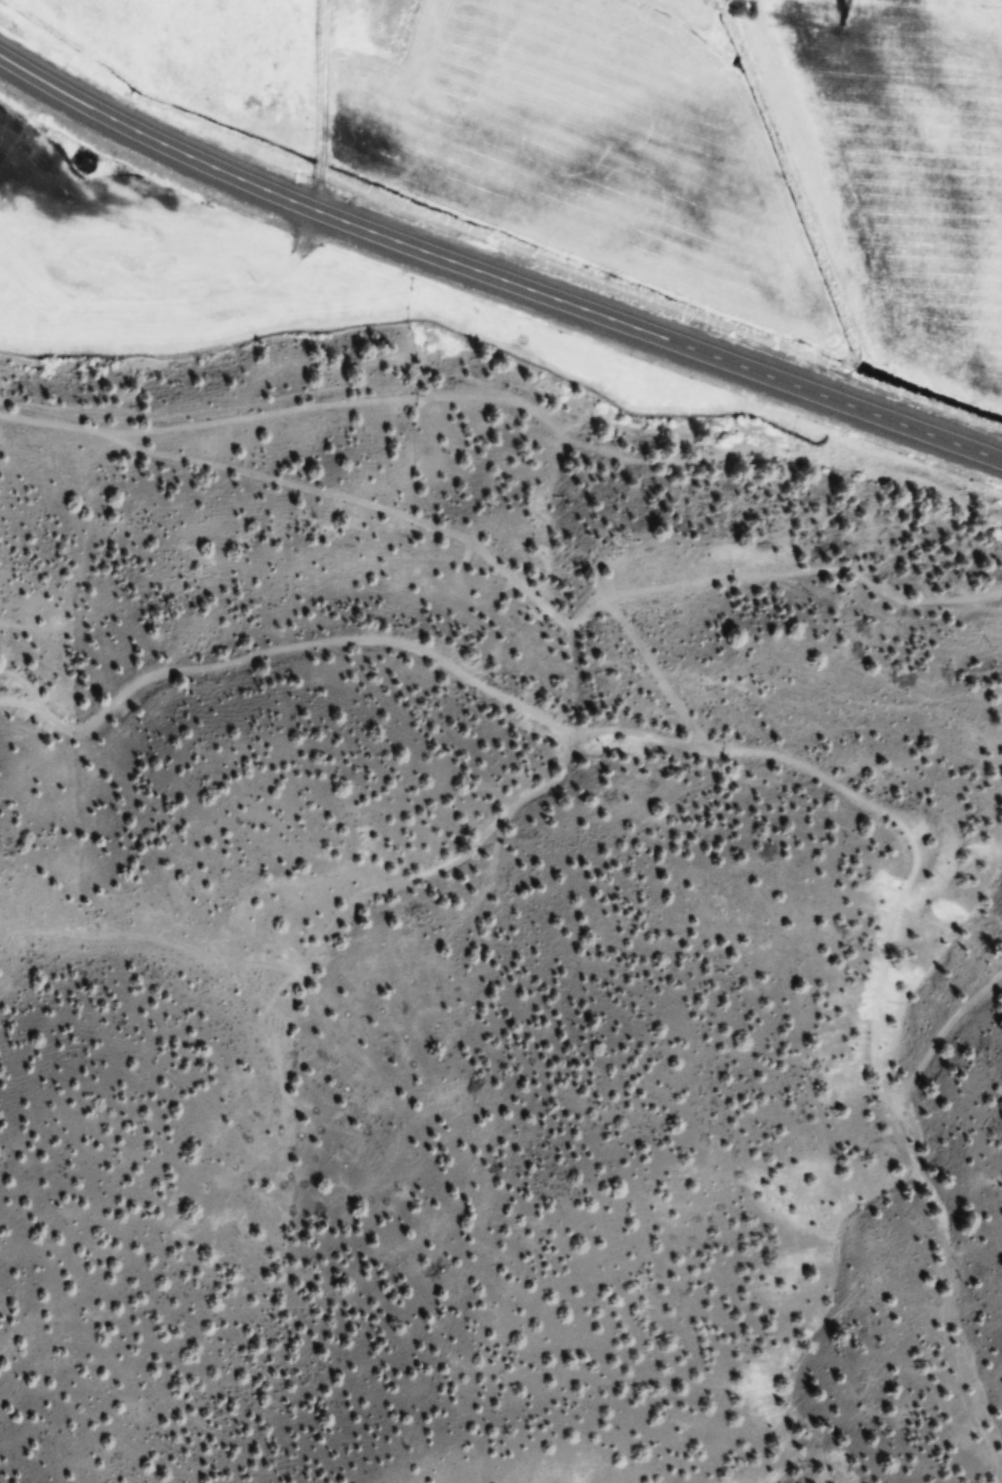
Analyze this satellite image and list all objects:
road: (491, 276)

